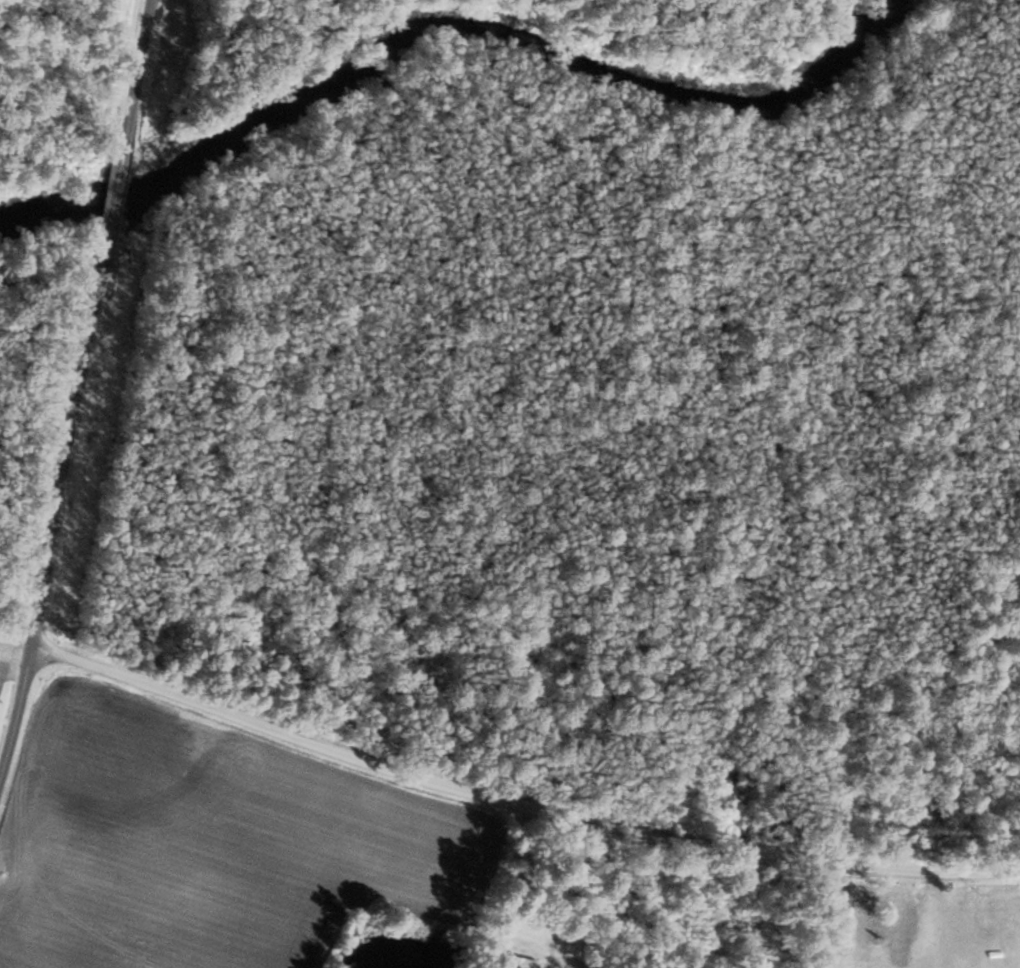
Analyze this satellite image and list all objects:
road: (134, 79)
road: (110, 207)
road: (51, 521)
road: (518, 808)
road: (505, 889)
building: (898, 918)
building: (513, 962)

